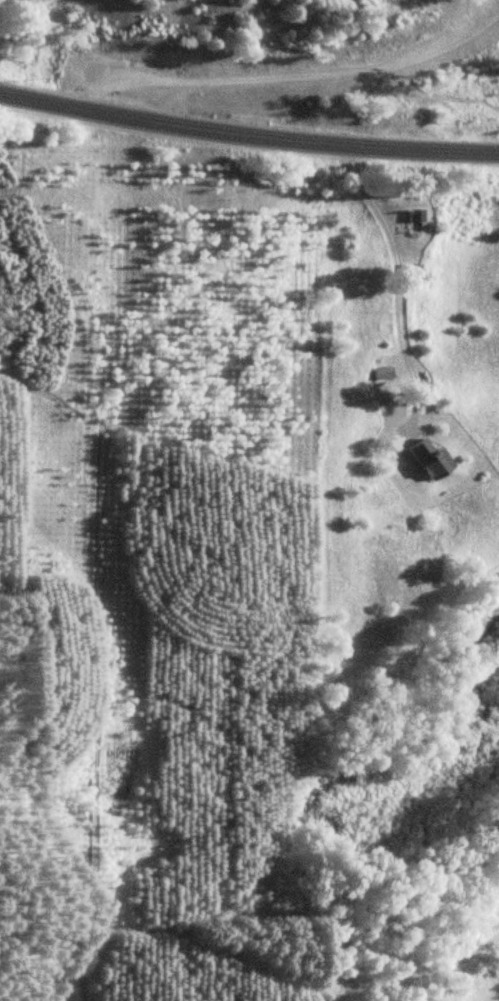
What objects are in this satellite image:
road: (248, 133)
building: (409, 220)
building: (383, 373)
building: (425, 457)

